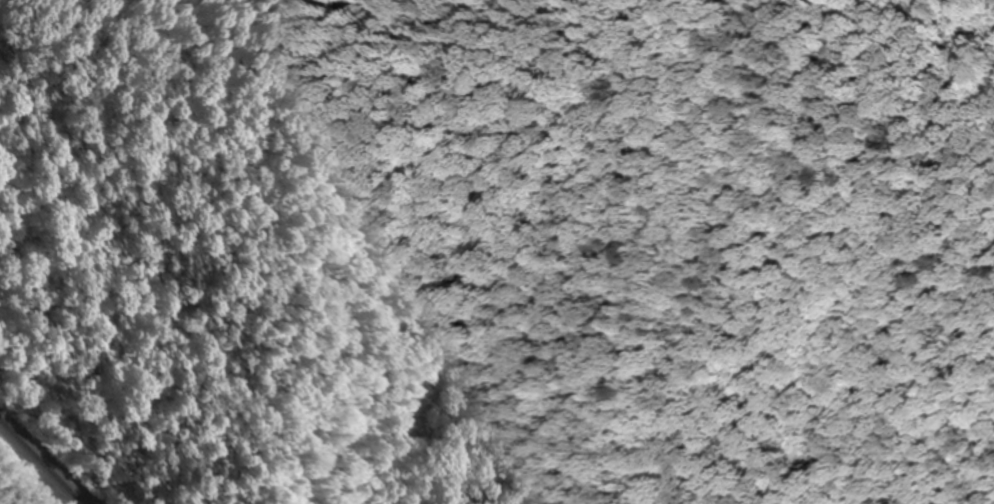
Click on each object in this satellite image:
railway: (38, 463)

